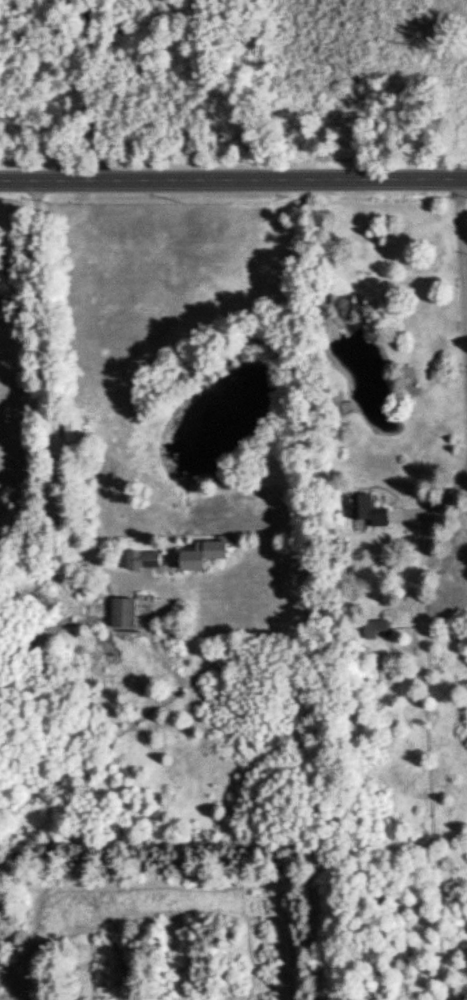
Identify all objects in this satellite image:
road: (87, 90)
road: (233, 179)
road: (462, 267)
road: (45, 402)
building: (71, 424)
road: (444, 494)
building: (367, 508)
building: (202, 553)
building: (141, 558)
building: (122, 611)
building: (373, 625)

